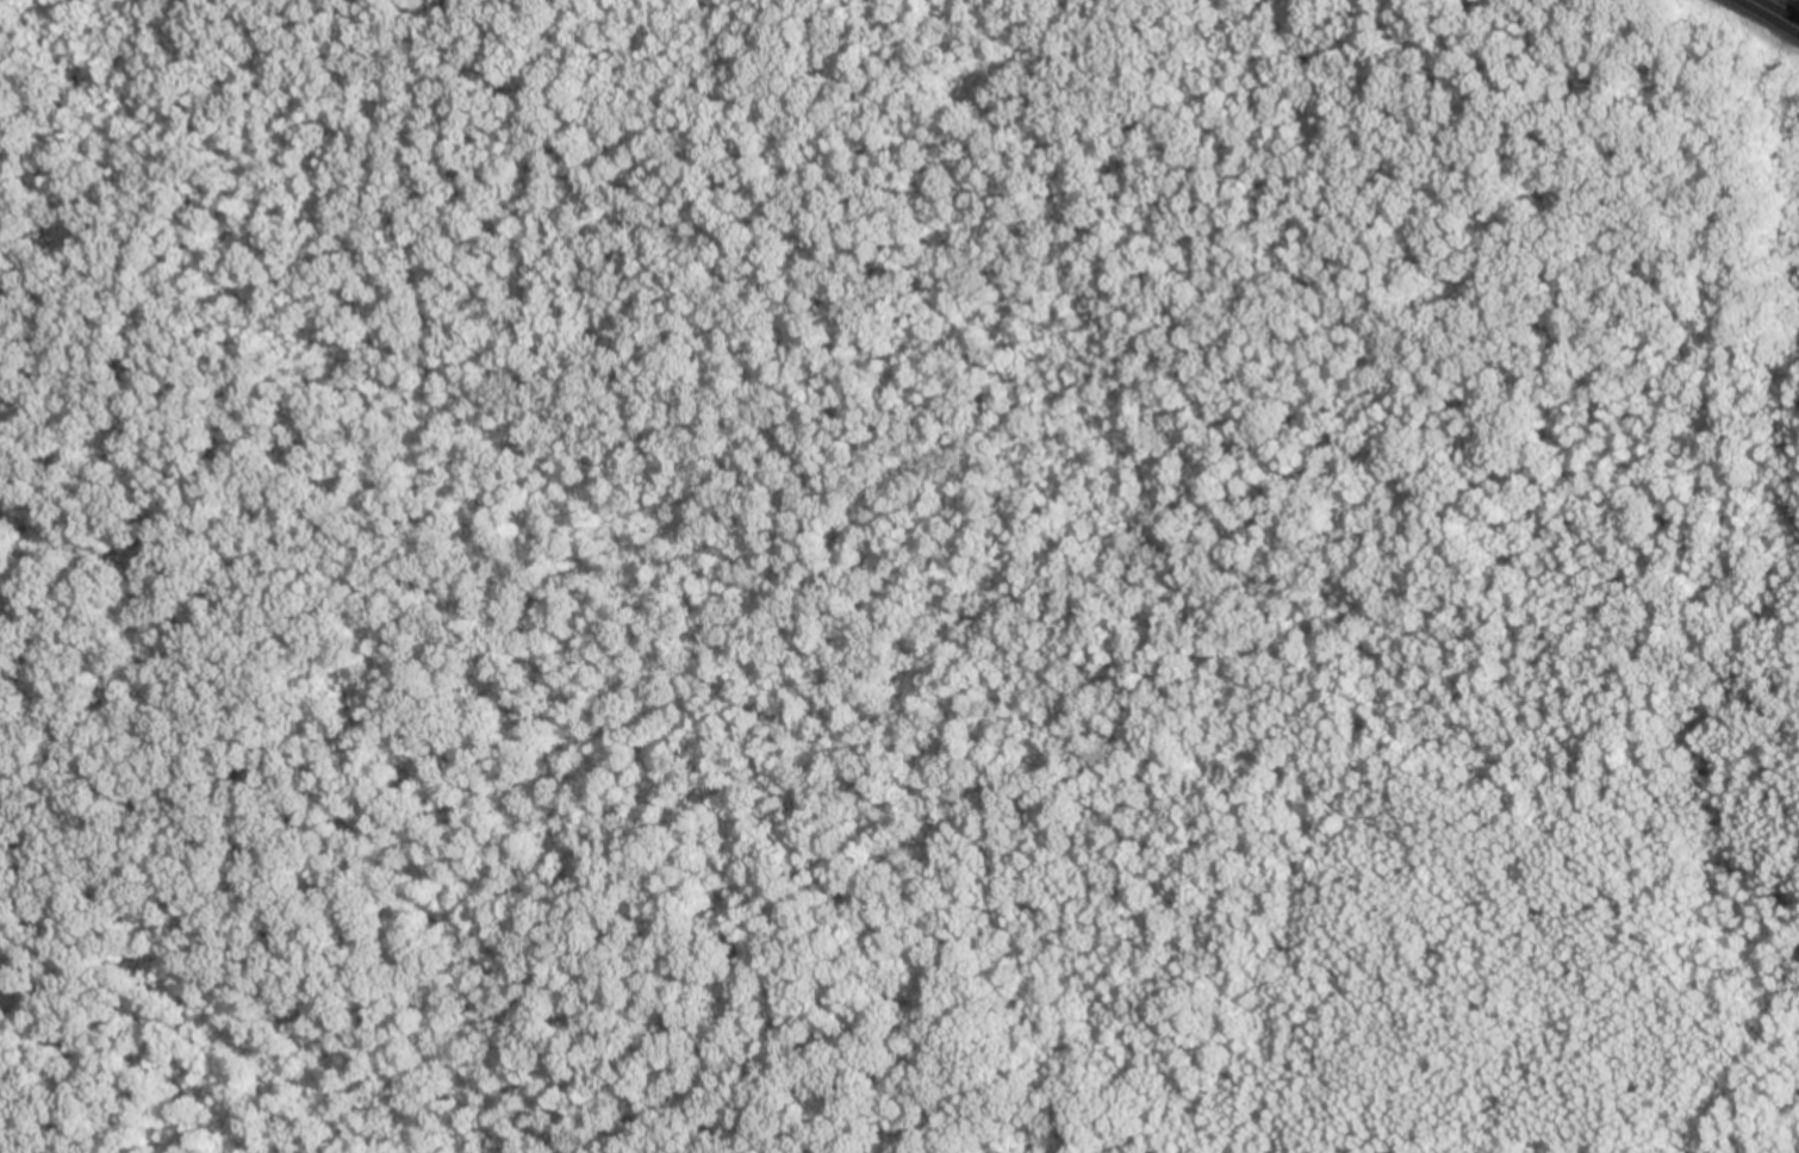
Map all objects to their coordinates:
road: (1779, 12)

